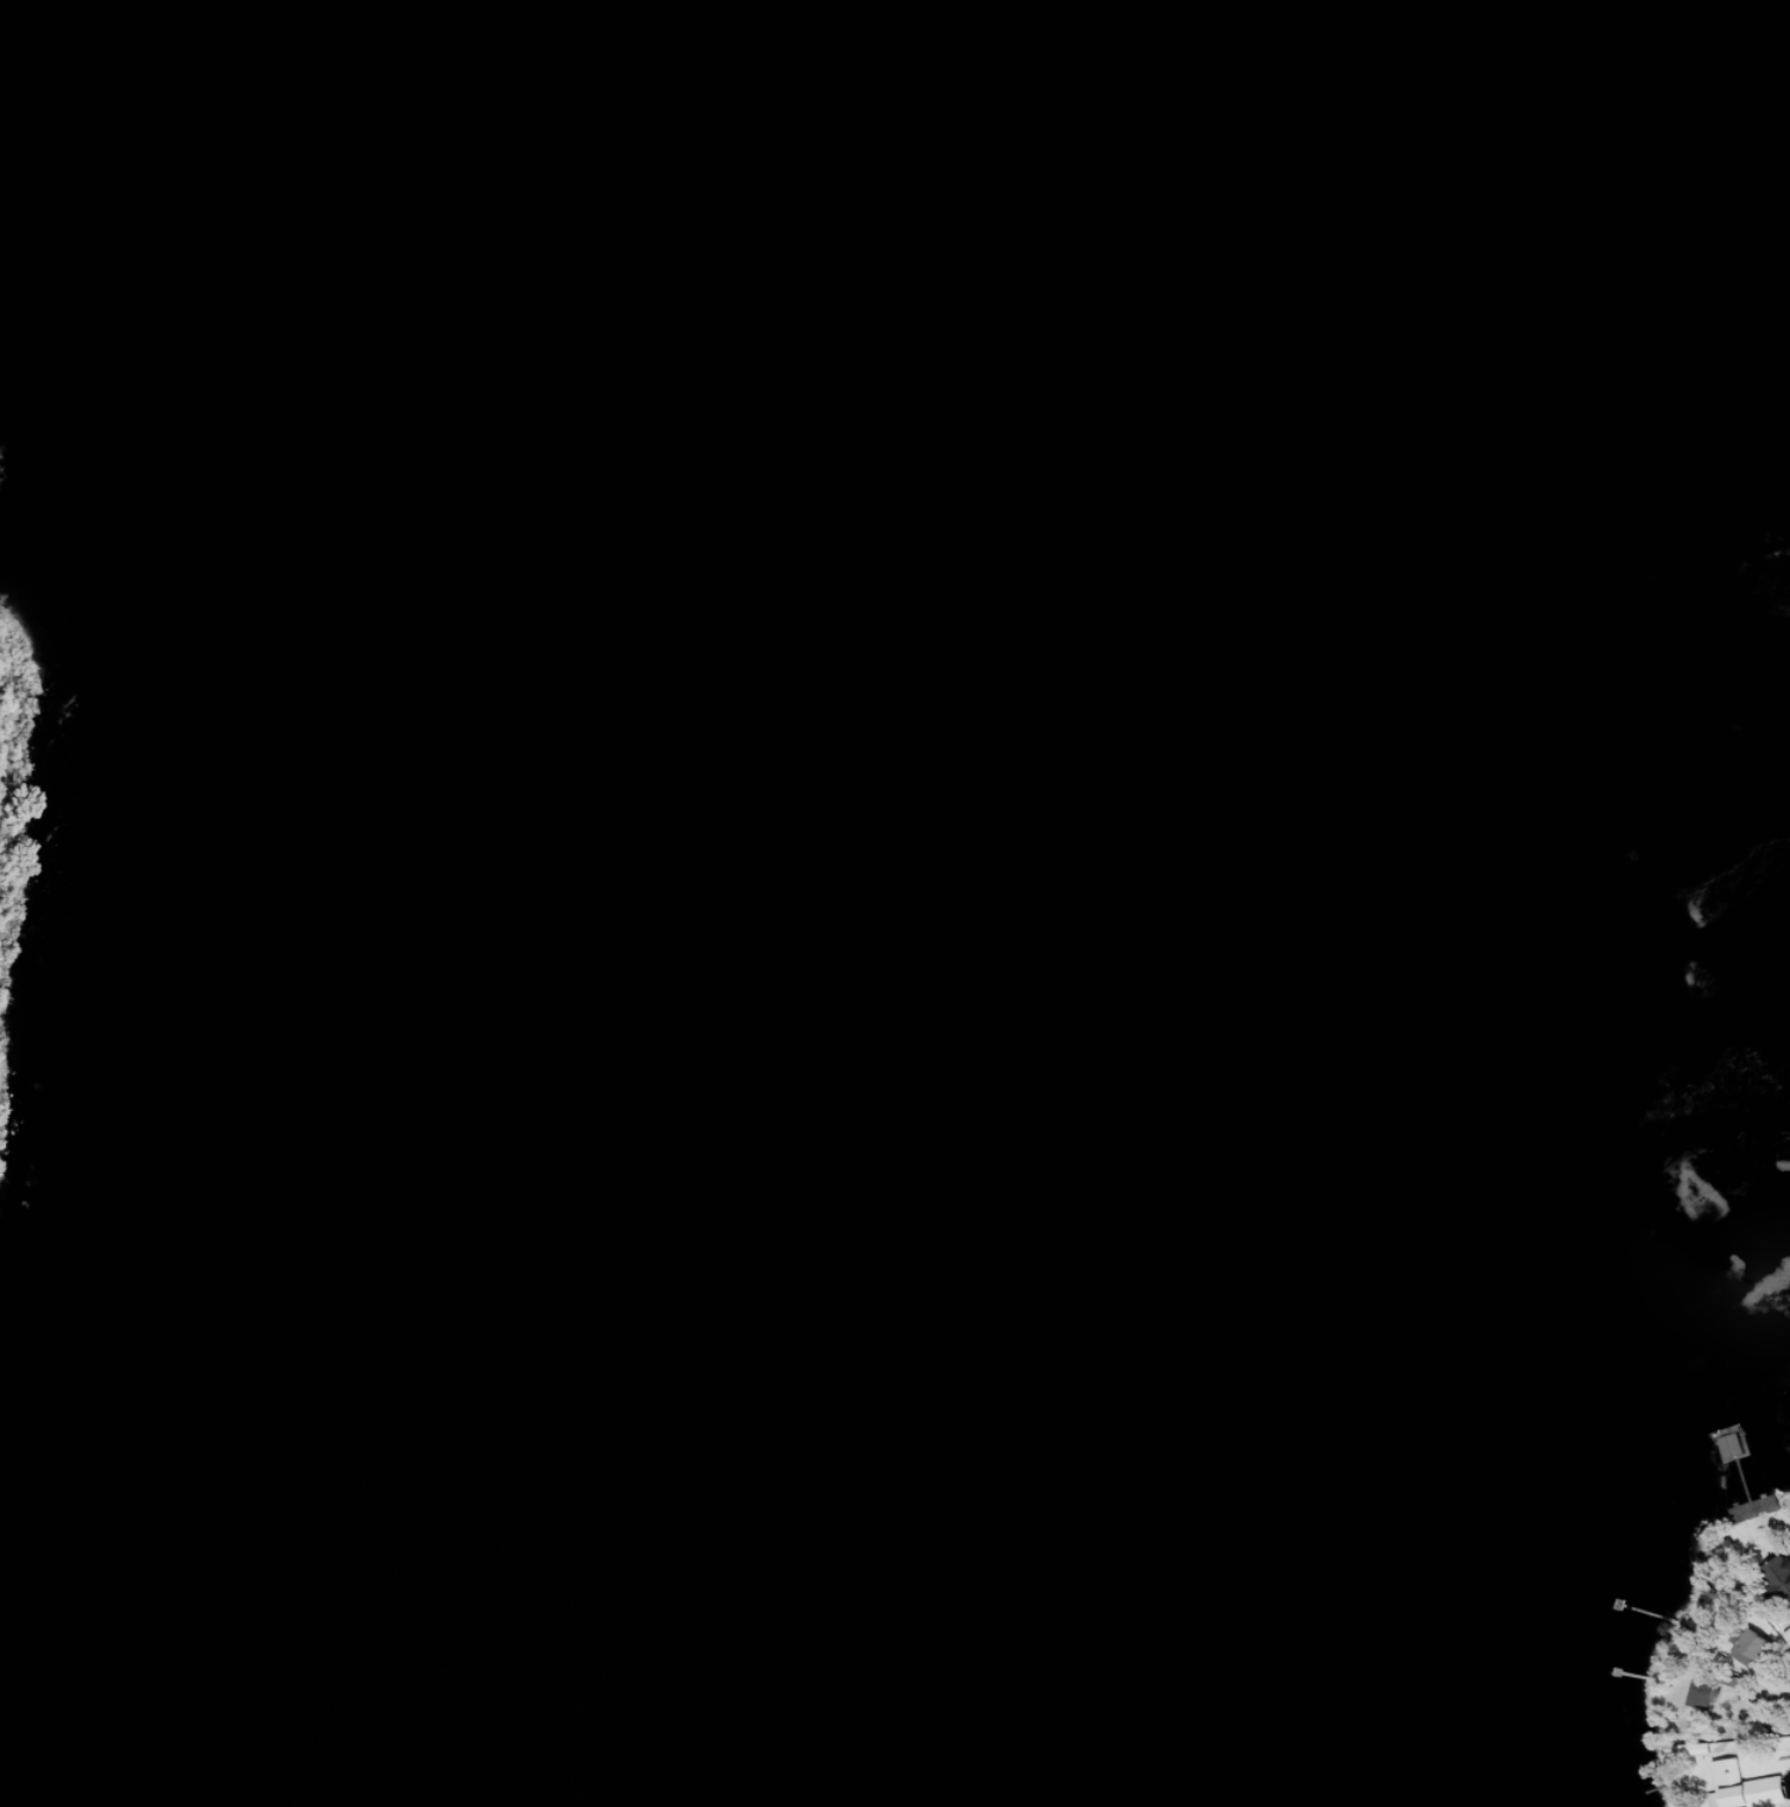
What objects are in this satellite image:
building: (1779, 1587)
building: (1788, 1644)
building: (1750, 1654)
building: (1707, 1704)
building: (1746, 1792)

